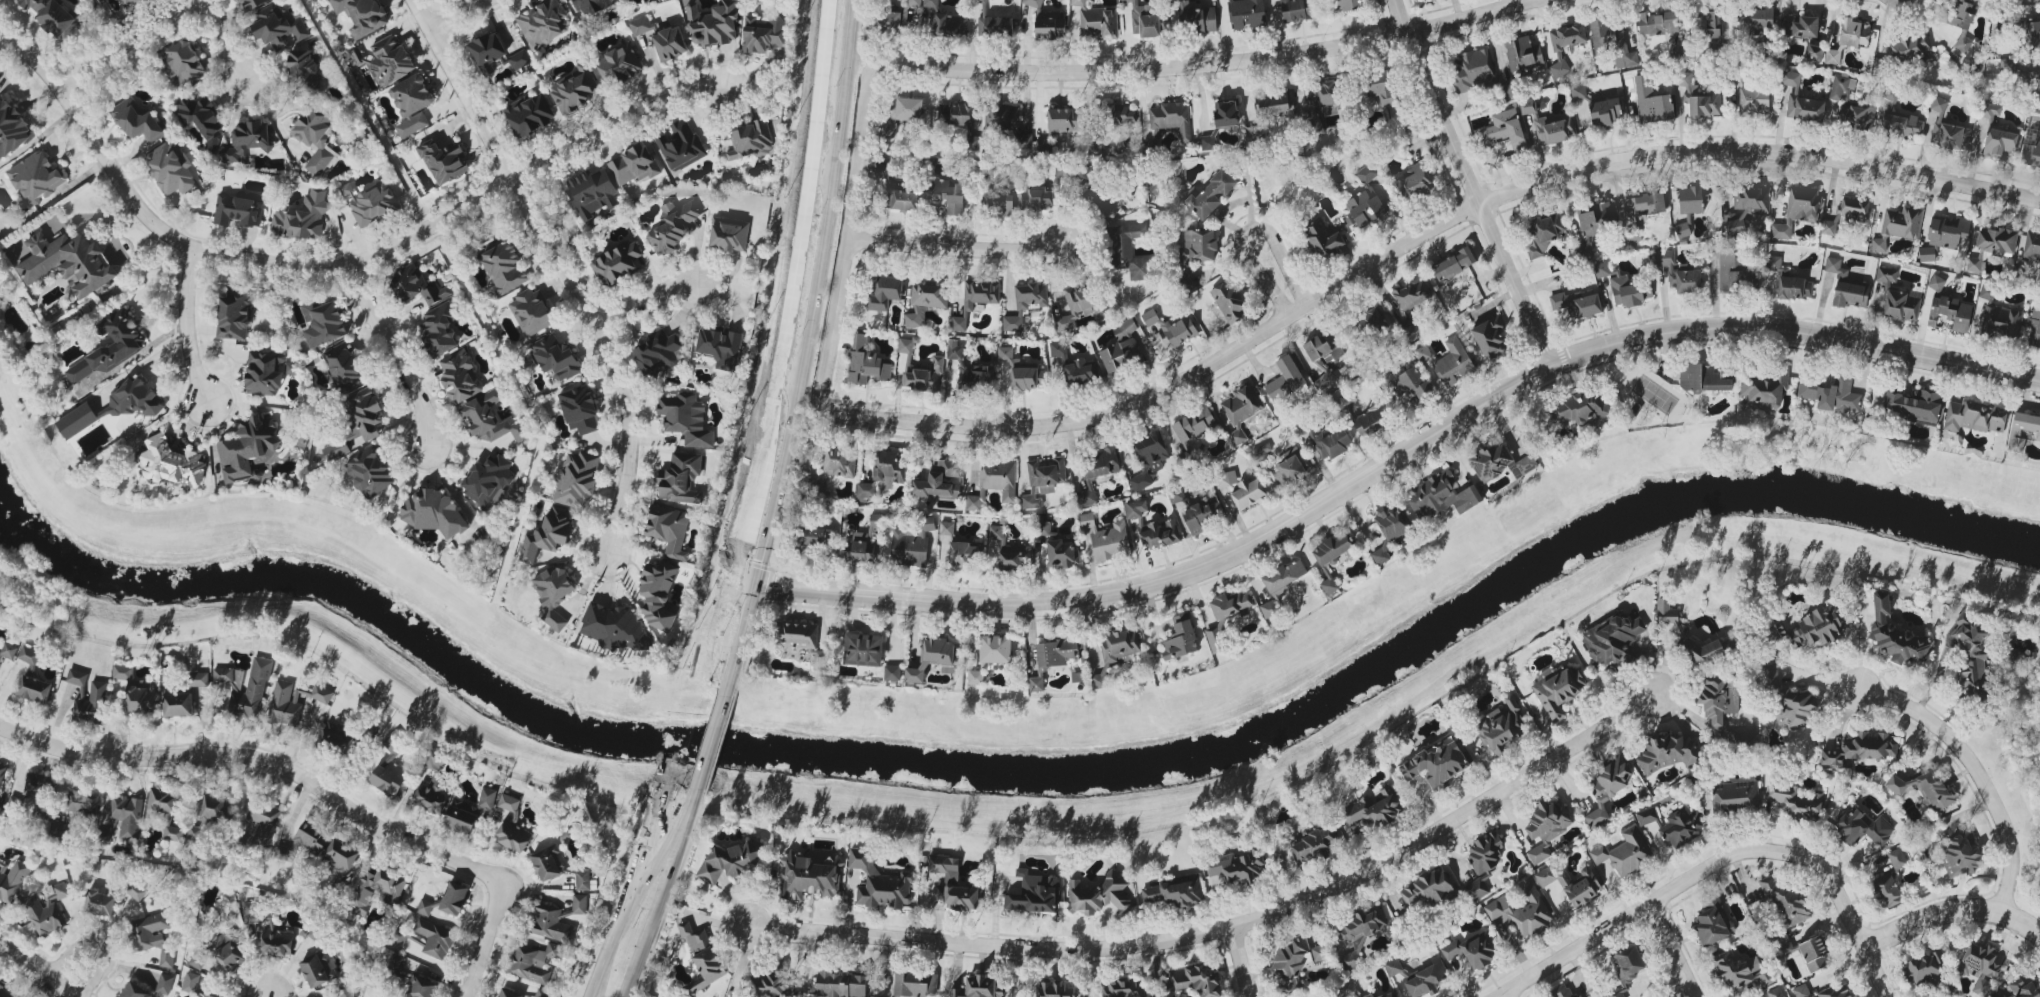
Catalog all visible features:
building: (2036, 1)
building: (1177, 2)
building: (133, 3)
building: (913, 3)
building: (1032, 3)
building: (250, 4)
building: (1343, 5)
building: (592, 6)
building: (1295, 11)
building: (1246, 13)
road: (455, 14)
building: (362, 15)
building: (52, 16)
building: (1761, 18)
building: (1199, 20)
building: (890, 21)
building: (943, 21)
building: (1144, 21)
building: (541, 23)
building: (713, 23)
building: (1657, 23)
building: (1098, 24)
building: (640, 25)
building: (278, 26)
building: (995, 26)
building: (1712, 26)
building: (1050, 27)
building: (1800, 27)
building: (763, 33)
building: (1854, 33)
building: (2033, 35)
road: (220, 40)
building: (1610, 40)
road: (126, 43)
building: (670, 44)
building: (1565, 44)
building: (1963, 44)
building: (1910, 47)
building: (487, 52)
building: (1814, 53)
building: (1523, 55)
building: (1833, 57)
building: (518, 60)
building: (390, 61)
building: (182, 63)
building: (618, 64)
building: (302, 66)
road: (1124, 69)
building: (1472, 71)
building: (2038, 86)
building: (1382, 87)
building: (1841, 88)
building: (574, 90)
building: (1578, 92)
building: (1699, 98)
building: (1652, 100)
building: (1754, 100)
building: (1801, 101)
building: (411, 104)
building: (1939, 104)
building: (1272, 105)
building: (1318, 105)
building: (1990, 111)
building: (1606, 113)
building: (1125, 114)
building: (1226, 114)
building: (530, 115)
building: (902, 115)
building: (956, 115)
building: (1002, 117)
building: (1856, 117)
building: (202, 119)
building: (1064, 120)
building: (1169, 121)
building: (137, 123)
building: (1549, 124)
building: (1901, 125)
building: (12, 130)
building: (1505, 130)
building: (1950, 135)
building: (316, 139)
building: (247, 141)
building: (751, 141)
building: (1024, 141)
building: (1209, 142)
building: (1999, 144)
building: (681, 146)
building: (444, 161)
building: (634, 165)
building: (171, 168)
building: (883, 169)
building: (1366, 174)
building: (35, 179)
building: (1415, 181)
road: (1471, 183)
building: (592, 193)
building: (948, 195)
building: (1210, 195)
building: (1040, 197)
building: (902, 199)
building: (1000, 199)
building: (1023, 200)
building: (1692, 200)
building: (1104, 202)
building: (373, 206)
building: (1643, 206)
building: (1366, 208)
building: (1746, 208)
building: (1798, 210)
building: (238, 211)
building: (1847, 213)
building: (302, 217)
building: (1597, 218)
building: (1902, 222)
building: (673, 227)
road: (1247, 231)
building: (1948, 233)
building: (729, 234)
building: (1543, 234)
building: (1324, 241)
building: (1878, 245)
building: (1992, 245)
road: (957, 247)
building: (1198, 247)
building: (2032, 247)
building: (1126, 252)
building: (1927, 254)
road: (333, 263)
building: (69, 264)
building: (617, 264)
building: (1453, 264)
road: (559, 267)
building: (503, 268)
building: (1836, 268)
building: (1678, 272)
building: (1737, 272)
building: (1886, 274)
building: (1789, 281)
building: (1188, 282)
road: (1343, 283)
building: (1936, 283)
building: (416, 286)
building: (1621, 286)
building: (1987, 292)
building: (885, 293)
building: (979, 295)
building: (1850, 295)
road: (639, 297)
building: (1229, 300)
building: (1411, 302)
building: (925, 303)
building: (1578, 303)
building: (1026, 305)
building: (1901, 306)
building: (1077, 307)
building: (531, 312)
building: (1950, 313)
building: (234, 317)
building: (1372, 322)
building: (2001, 322)
road: (184, 323)
building: (323, 323)
building: (959, 324)
building: (1170, 328)
building: (439, 329)
building: (2034, 329)
building: (1489, 338)
building: (108, 347)
building: (720, 347)
building: (1324, 347)
road: (384, 348)
building: (1122, 348)
road: (807, 349)
building: (953, 349)
building: (1058, 350)
building: (1422, 353)
building: (659, 354)
building: (556, 357)
building: (1454, 362)
building: (866, 363)
building: (344, 367)
building: (920, 371)
building: (1023, 371)
building: (1080, 372)
building: (267, 373)
building: (1321, 375)
building: (460, 378)
building: (1702, 379)
building: (977, 380)
building: (1285, 380)
building: (1411, 384)
building: (1765, 387)
building: (1830, 394)
building: (134, 400)
building: (1913, 407)
building: (1241, 409)
building: (1580, 409)
building: (580, 410)
park: (8, 415)
building: (365, 415)
building: (1975, 417)
building: (686, 419)
building: (1371, 420)
building: (77, 421)
building: (491, 421)
building: (2026, 422)
building: (1191, 426)
building: (1332, 442)
building: (248, 448)
building: (336, 450)
building: (1148, 459)
road: (1398, 459)
building: (171, 463)
building: (839, 463)
building: (1500, 463)
building: (1289, 467)
building: (890, 468)
building: (1097, 470)
building: (370, 472)
building: (999, 478)
building: (680, 479)
building: (577, 480)
building: (1227, 480)
building: (1043, 481)
building: (488, 482)
building: (940, 482)
building: (866, 490)
building: (1248, 493)
building: (1177, 496)
building: (1441, 496)
building: (975, 502)
building: (1136, 509)
building: (432, 511)
building: (1201, 517)
building: (947, 528)
building: (668, 529)
building: (1046, 530)
building: (547, 534)
building: (1159, 534)
building: (816, 539)
building: (1106, 539)
building: (911, 544)
building: (1334, 548)
building: (863, 549)
building: (1010, 551)
building: (1062, 554)
building: (962, 555)
building: (1329, 582)
traffic signals: (755, 584)
building: (1281, 585)
building: (553, 595)
building: (658, 595)
building: (1230, 605)
building: (614, 628)
building: (1677, 632)
building: (797, 635)
building: (1895, 636)
building: (1180, 639)
building: (1613, 641)
building: (995, 649)
building: (8, 650)
building: (863, 650)
building: (1116, 651)
building: (1056, 652)
building: (1971, 656)
building: (819, 659)
building: (933, 659)
building: (892, 673)
building: (1769, 675)
building: (77, 677)
building: (975, 677)
building: (33, 678)
building: (198, 679)
building: (1036, 684)
building: (1557, 690)
building: (137, 691)
building: (1719, 700)
building: (293, 701)
building: (91, 702)
building: (177, 703)
building: (1797, 708)
building: (1501, 726)
building: (336, 736)
building: (1743, 738)
building: (395, 743)
road: (710, 745)
building: (1861, 749)
building: (1668, 753)
road: (230, 759)
building: (433, 759)
building: (1436, 765)
road: (1974, 771)
building: (1, 773)
road: (2013, 776)
building: (389, 778)
building: (1607, 787)
building: (1923, 787)
building: (40, 793)
building: (431, 794)
building: (1735, 797)
building: (1795, 801)
building: (83, 802)
building: (509, 803)
building: (164, 810)
building: (469, 811)
building: (1371, 812)
building: (210, 815)
building: (1647, 816)
building: (126, 817)
building: (263, 823)
building: (1682, 827)
building: (1546, 828)
building: (1861, 828)
building: (105, 835)
building: (513, 836)
building: (303, 843)
building: (1315, 846)
building: (1485, 852)
building: (1625, 852)
building: (340, 855)
building: (1960, 855)
building: (1898, 858)
building: (728, 862)
building: (548, 863)
building: (1233, 869)
road: (1695, 875)
building: (11, 878)
building: (807, 878)
building: (585, 881)
building: (880, 883)
building: (1572, 883)
building: (954, 884)
building: (377, 888)
building: (1476, 890)
building: (136, 891)
building: (1886, 891)
building: (1172, 892)
building: (1425, 892)
road: (634, 893)
building: (1033, 894)
building: (1099, 895)
road: (661, 897)
building: (454, 898)
building: (100, 903)
building: (1786, 903)
building: (579, 904)
road: (497, 906)
building: (426, 907)
building: (47, 909)
building: (250, 911)
road: (1950, 911)
building: (1523, 913)
building: (551, 924)
building: (1713, 924)
road: (1231, 929)
building: (1360, 934)
building: (153, 937)
building: (435, 938)
building: (276, 939)
road: (102, 943)
building: (1782, 945)
building: (1473, 950)
road: (1671, 950)
building: (1814, 953)
building: (220, 955)
building: (702, 958)
building: (533, 962)
building: (1295, 962)
road: (1242, 963)
building: (1627, 964)
road: (37, 966)
building: (1393, 967)
building: (1980, 967)
building: (319, 969)
building: (1923, 969)
building: (1735, 970)
road: (1874, 972)
building: (1763, 977)
building: (1197, 980)
building: (1426, 980)
building: (164, 984)
building: (192, 984)
building: (774, 985)
building: (841, 985)
building: (915, 985)
building: (420, 987)
building: (978, 987)
building: (1123, 987)
building: (1347, 989)
building: (135, 991)
building: (1561, 991)
building: (1822, 991)
building: (6, 992)
building: (347, 992)
building: (1775, 992)
building: (509, 993)
building: (542, 993)
road: (272, 994)
building: (1615, 994)
building: (1388, 995)
road: (1510, 995)
building: (1370, 996)
building: (1580, 996)

